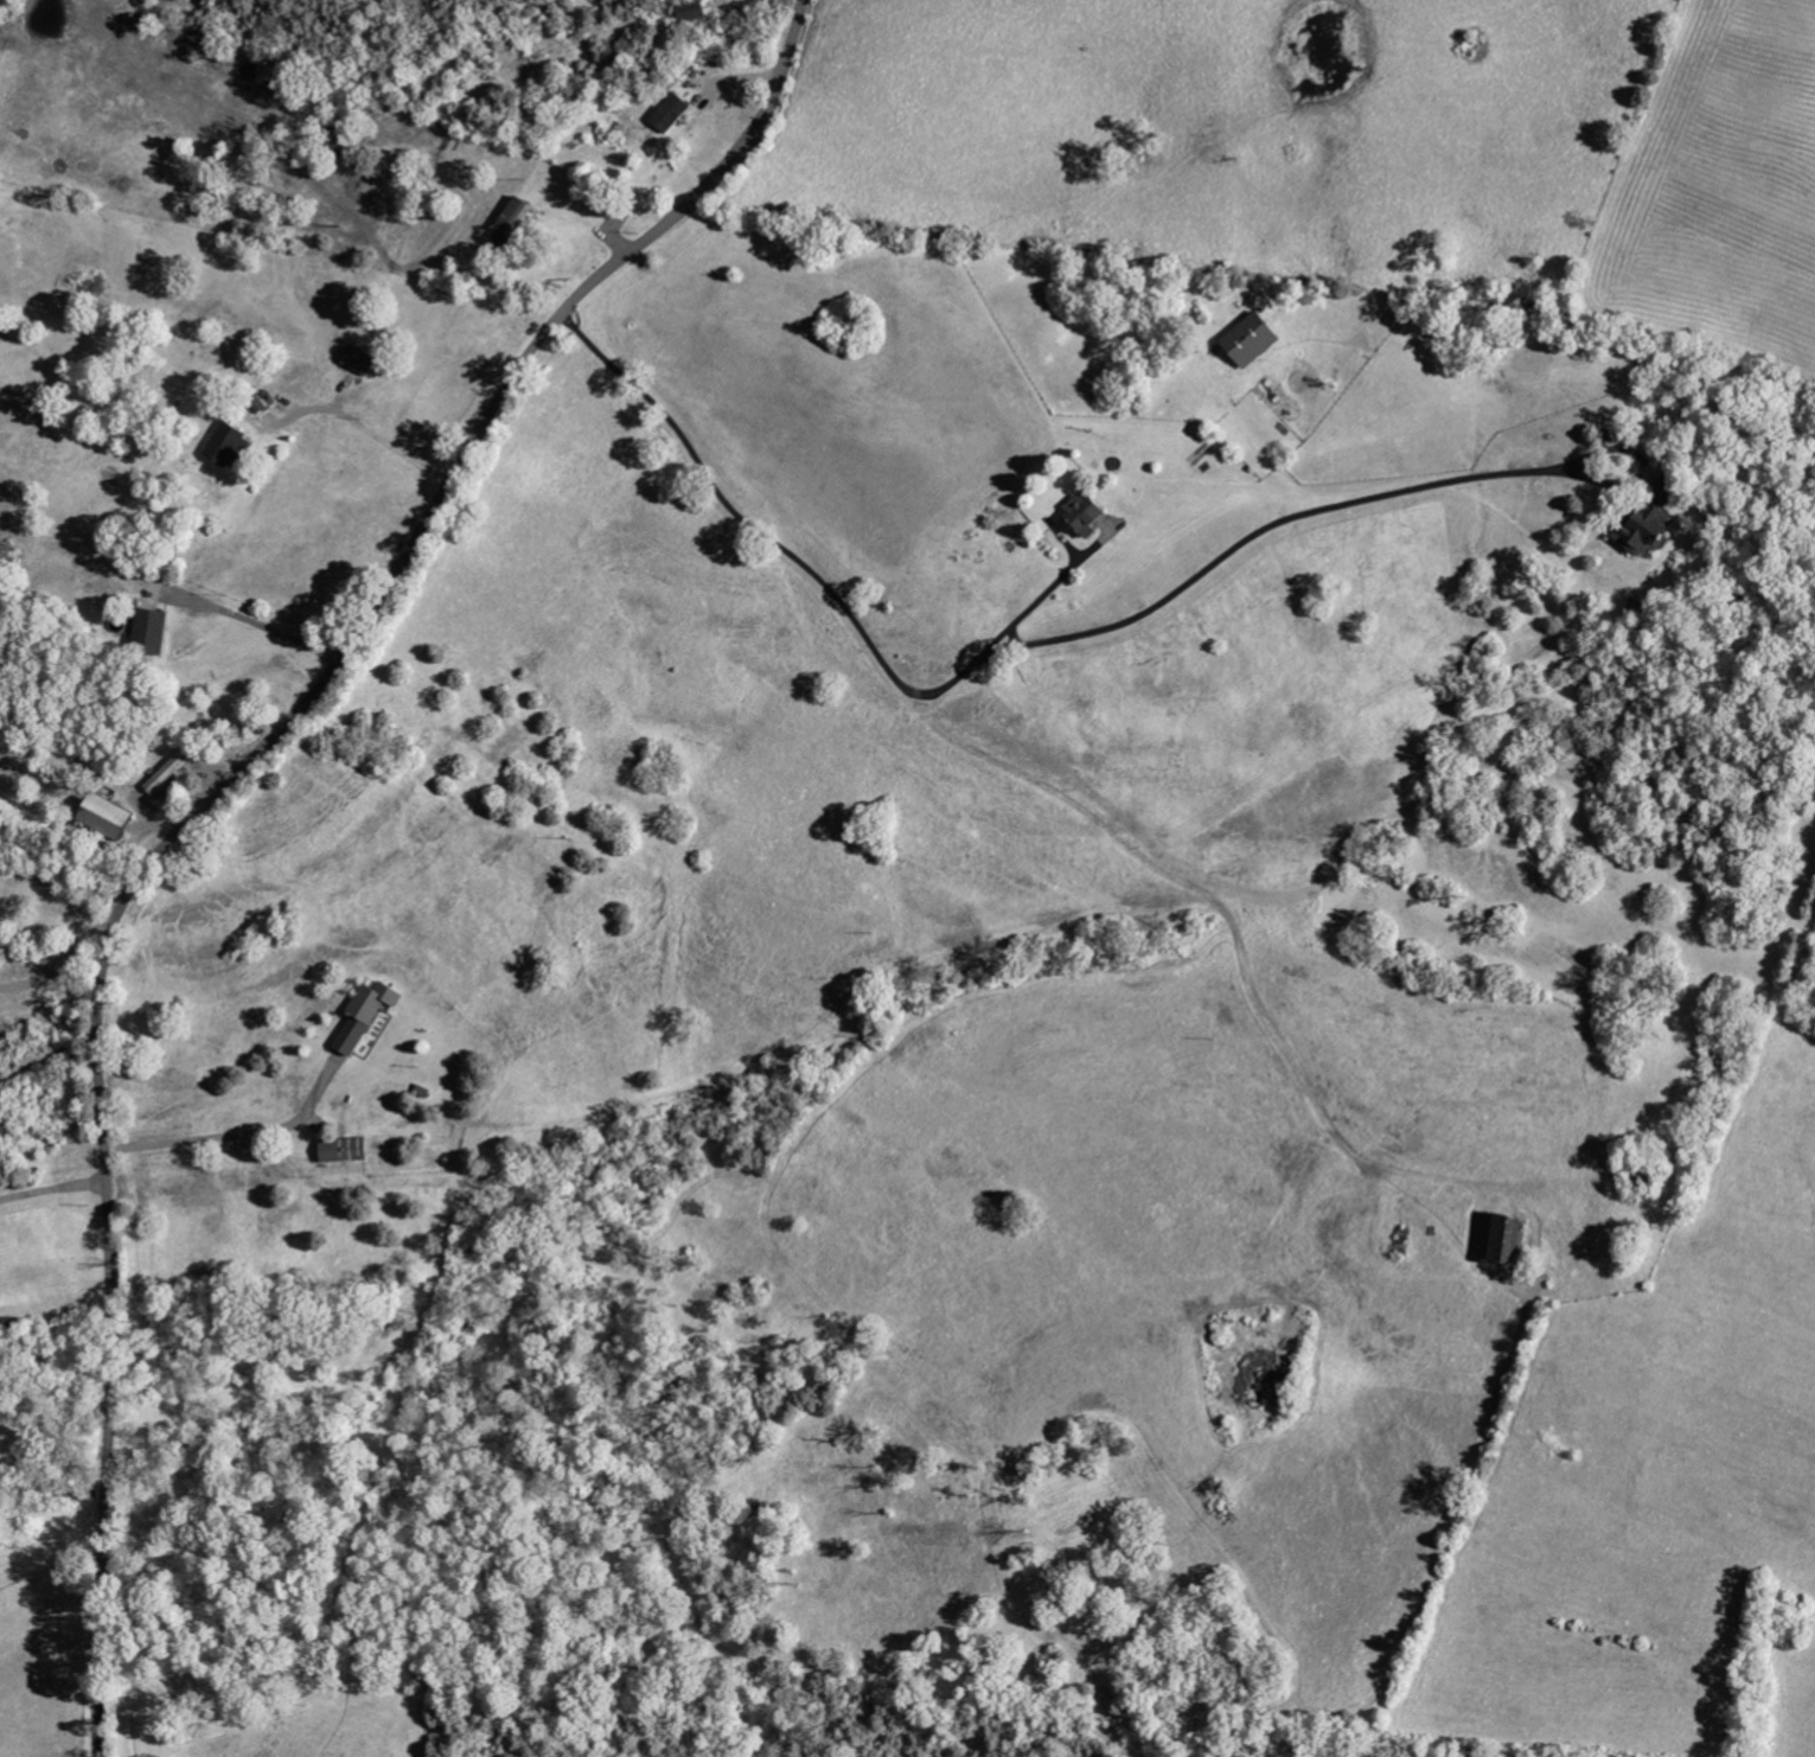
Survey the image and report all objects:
building: (694, 12)
building: (675, 114)
building: (518, 217)
road: (575, 249)
building: (1257, 340)
building: (363, 362)
road: (358, 433)
building: (1092, 513)
building: (1655, 523)
road: (1044, 594)
road: (261, 626)
building: (154, 632)
road: (1018, 647)
building: (173, 774)
road: (218, 796)
building: (115, 819)
road: (59, 964)
building: (369, 1016)
road: (237, 1137)
building: (350, 1151)
road: (52, 1189)
building: (1508, 1240)

